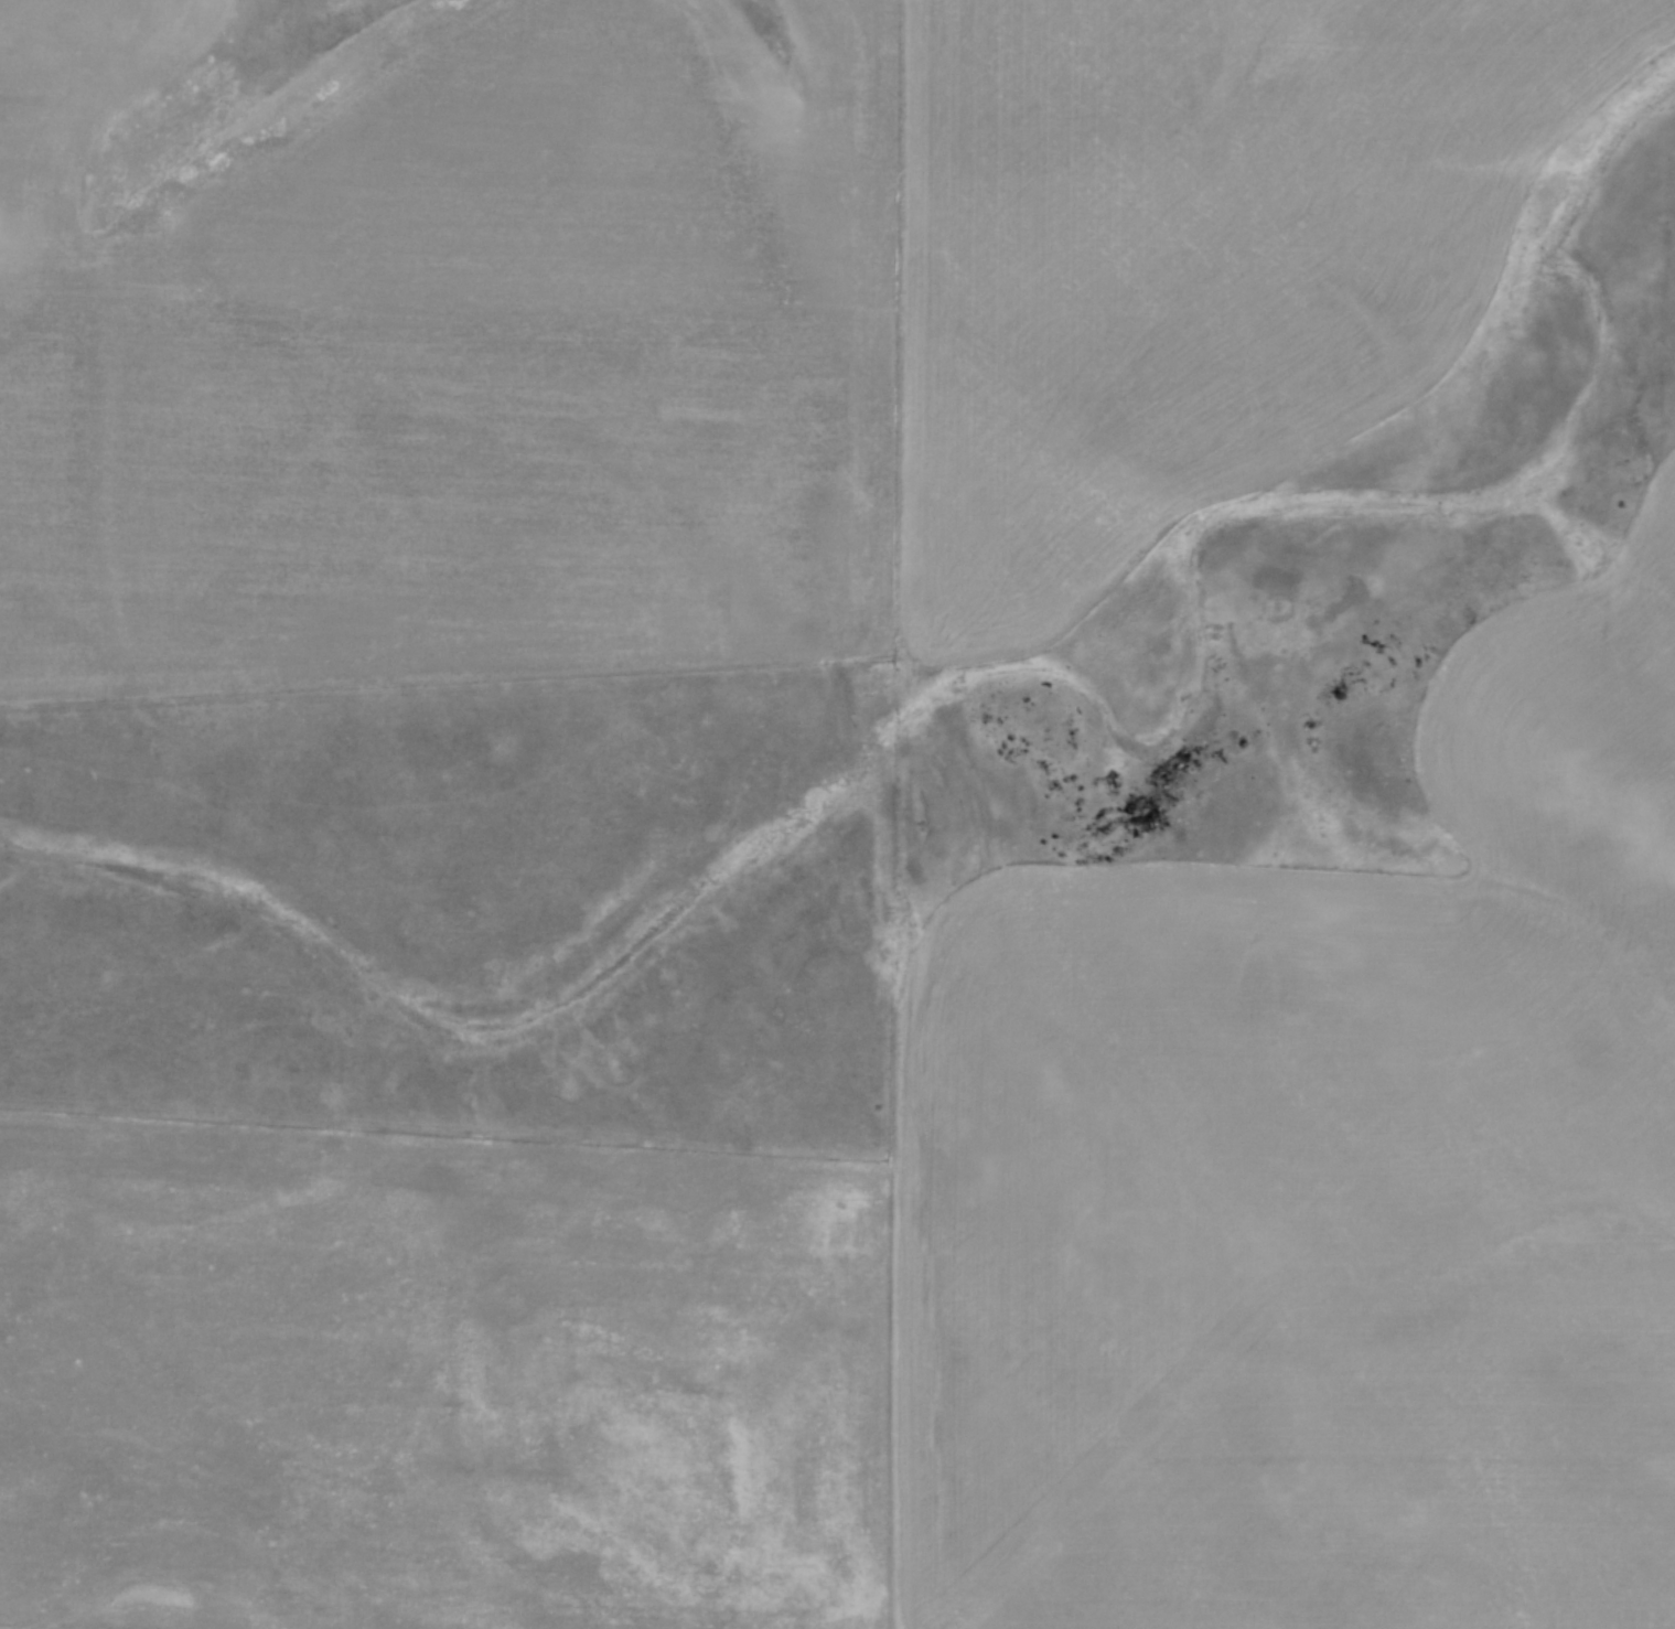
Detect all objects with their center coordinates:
crop: (705, 310)
crop: (964, 1271)

